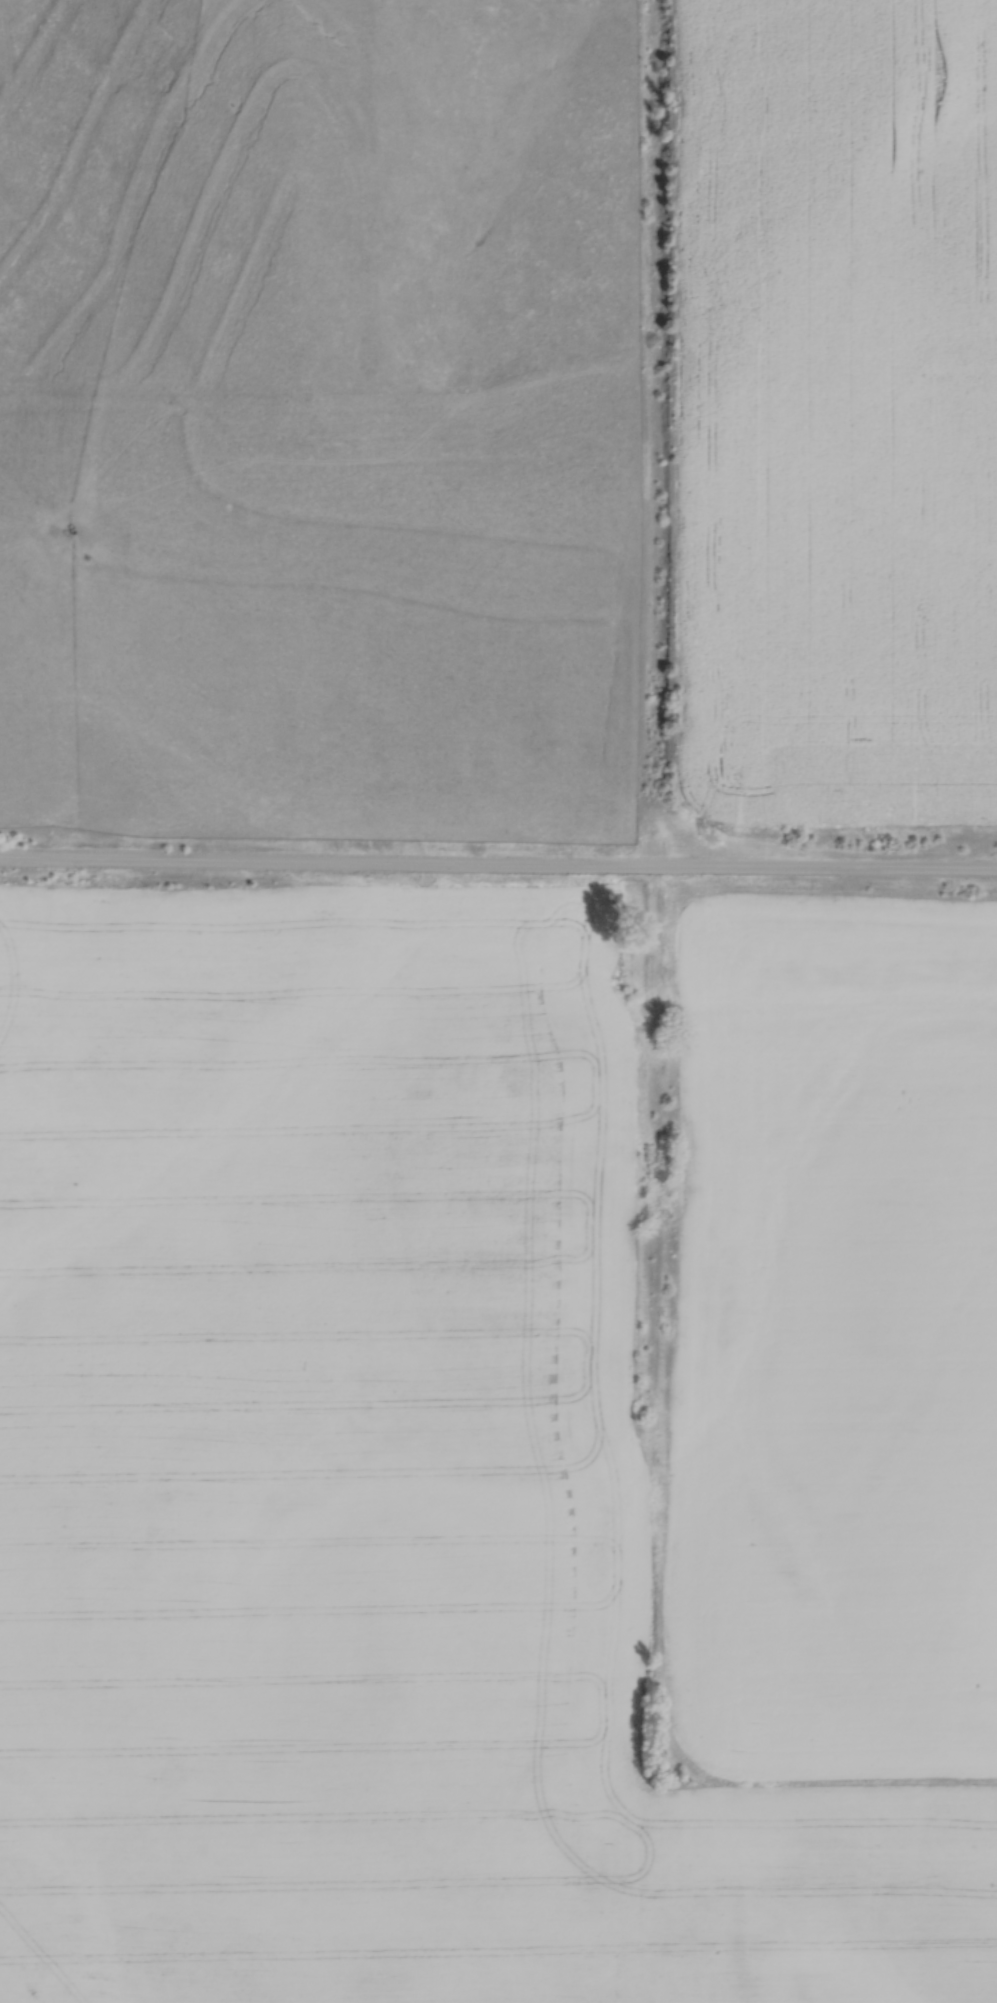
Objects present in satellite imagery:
road: (655, 435)
road: (498, 866)

